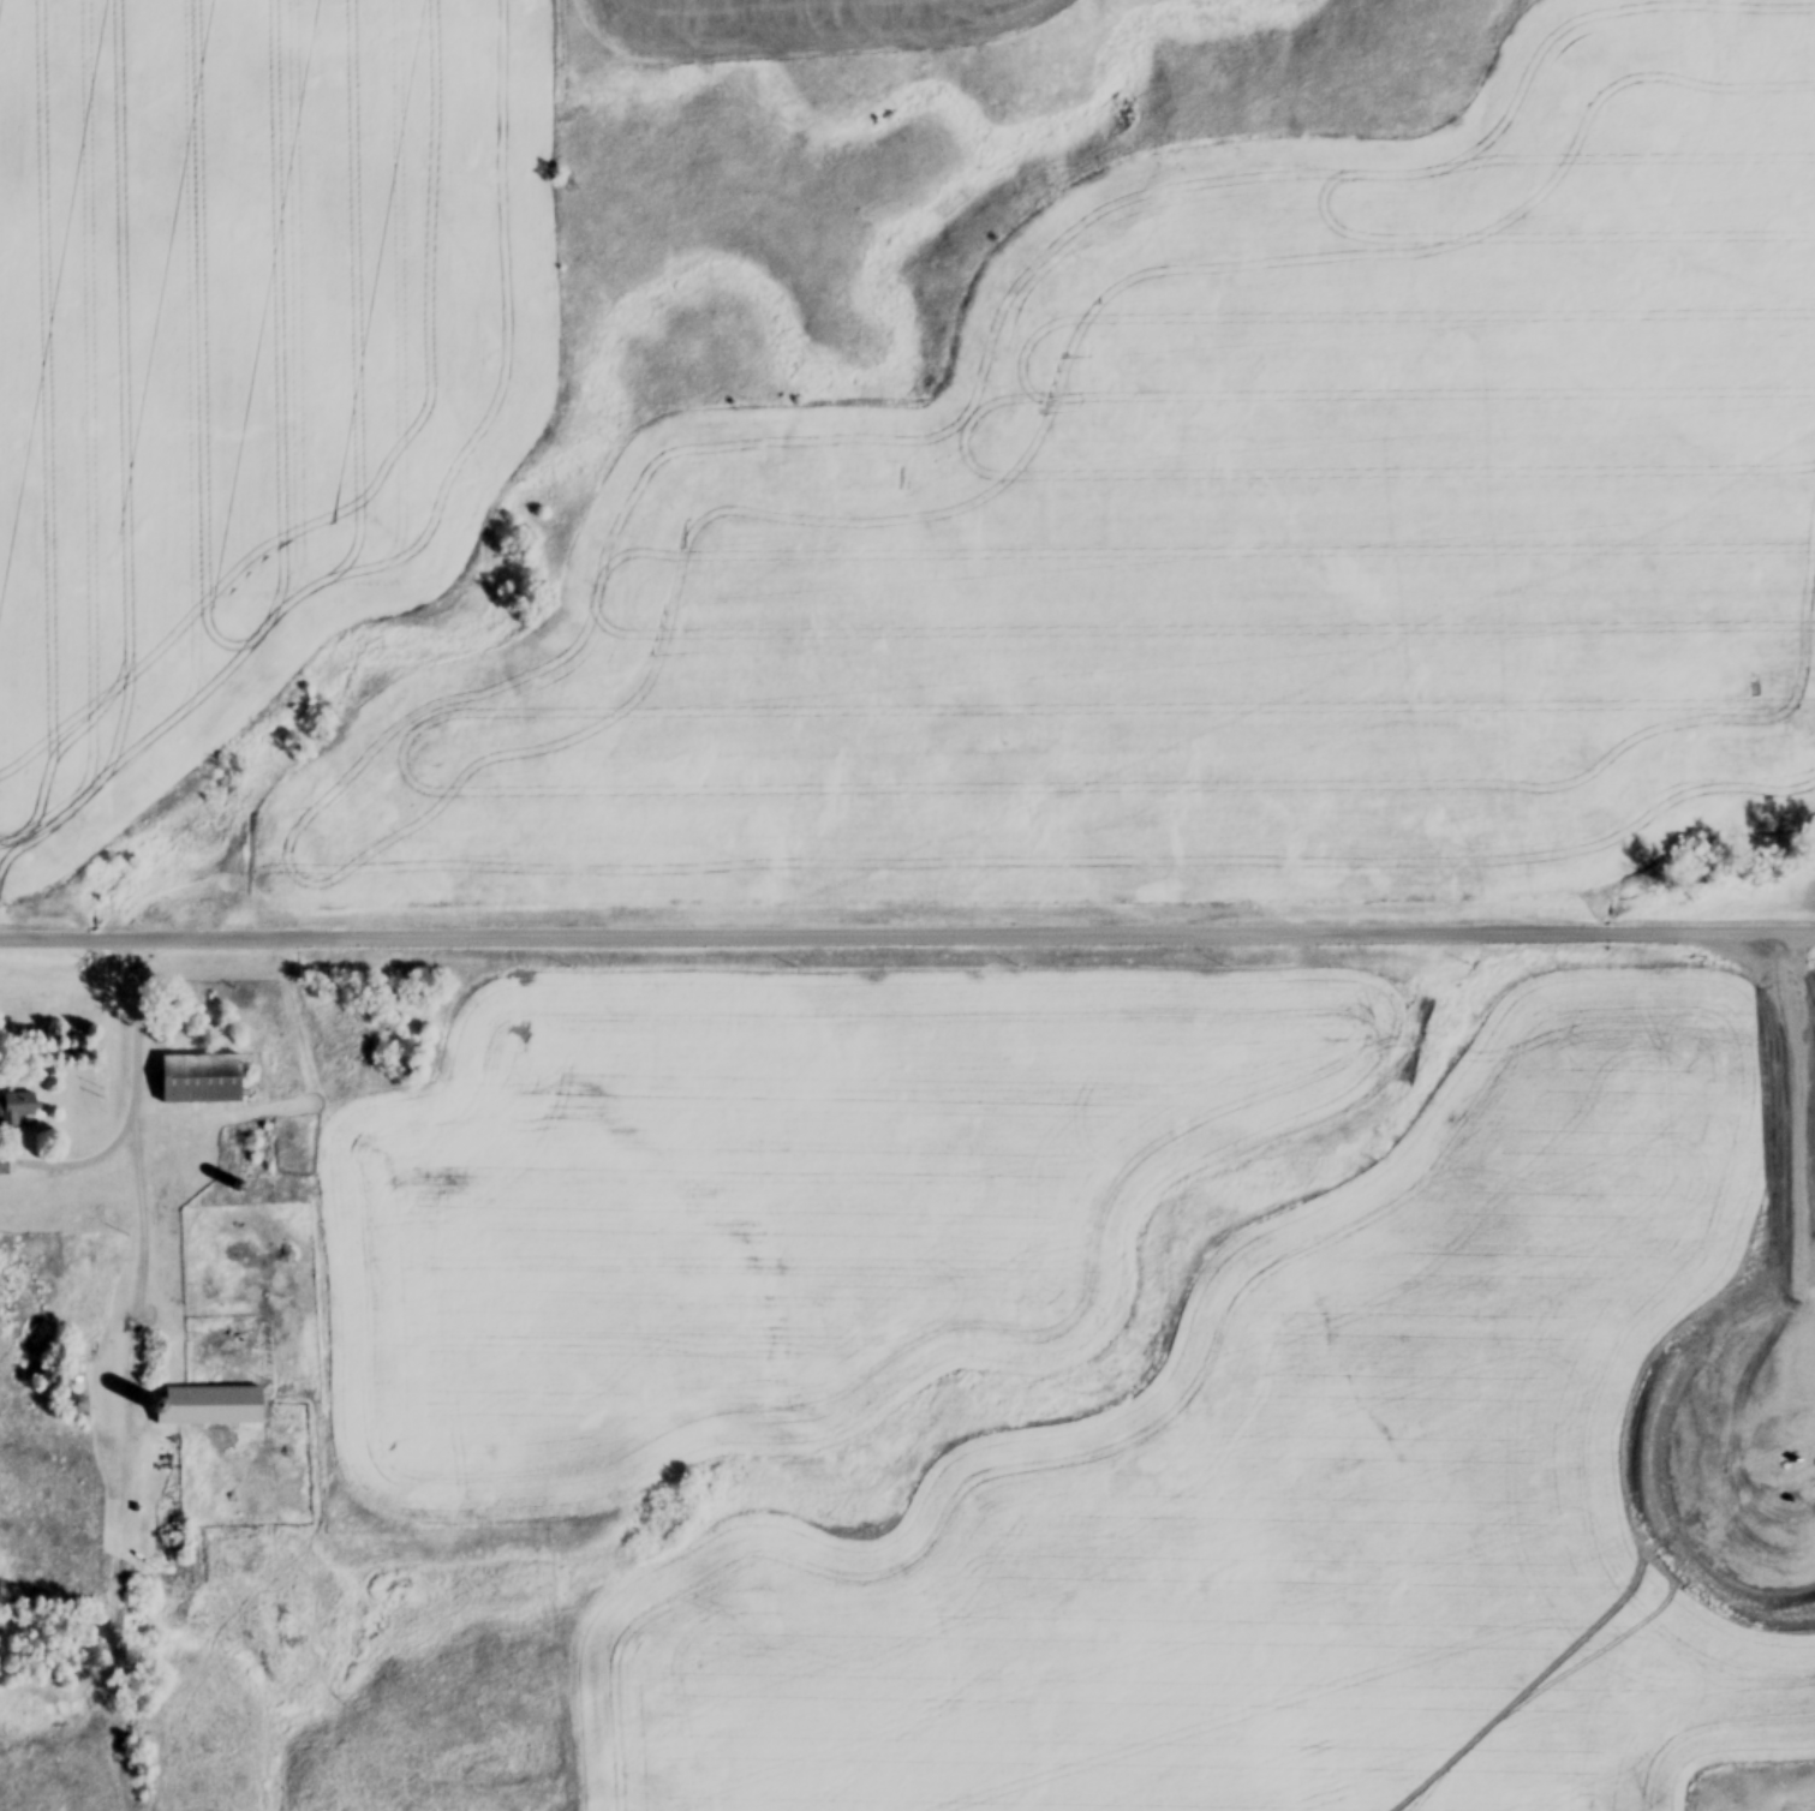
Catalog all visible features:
road: (907, 932)
building: (202, 1081)
road: (131, 1096)
building: (17, 1111)
building: (208, 1407)
wind turbine: (1790, 1471)

